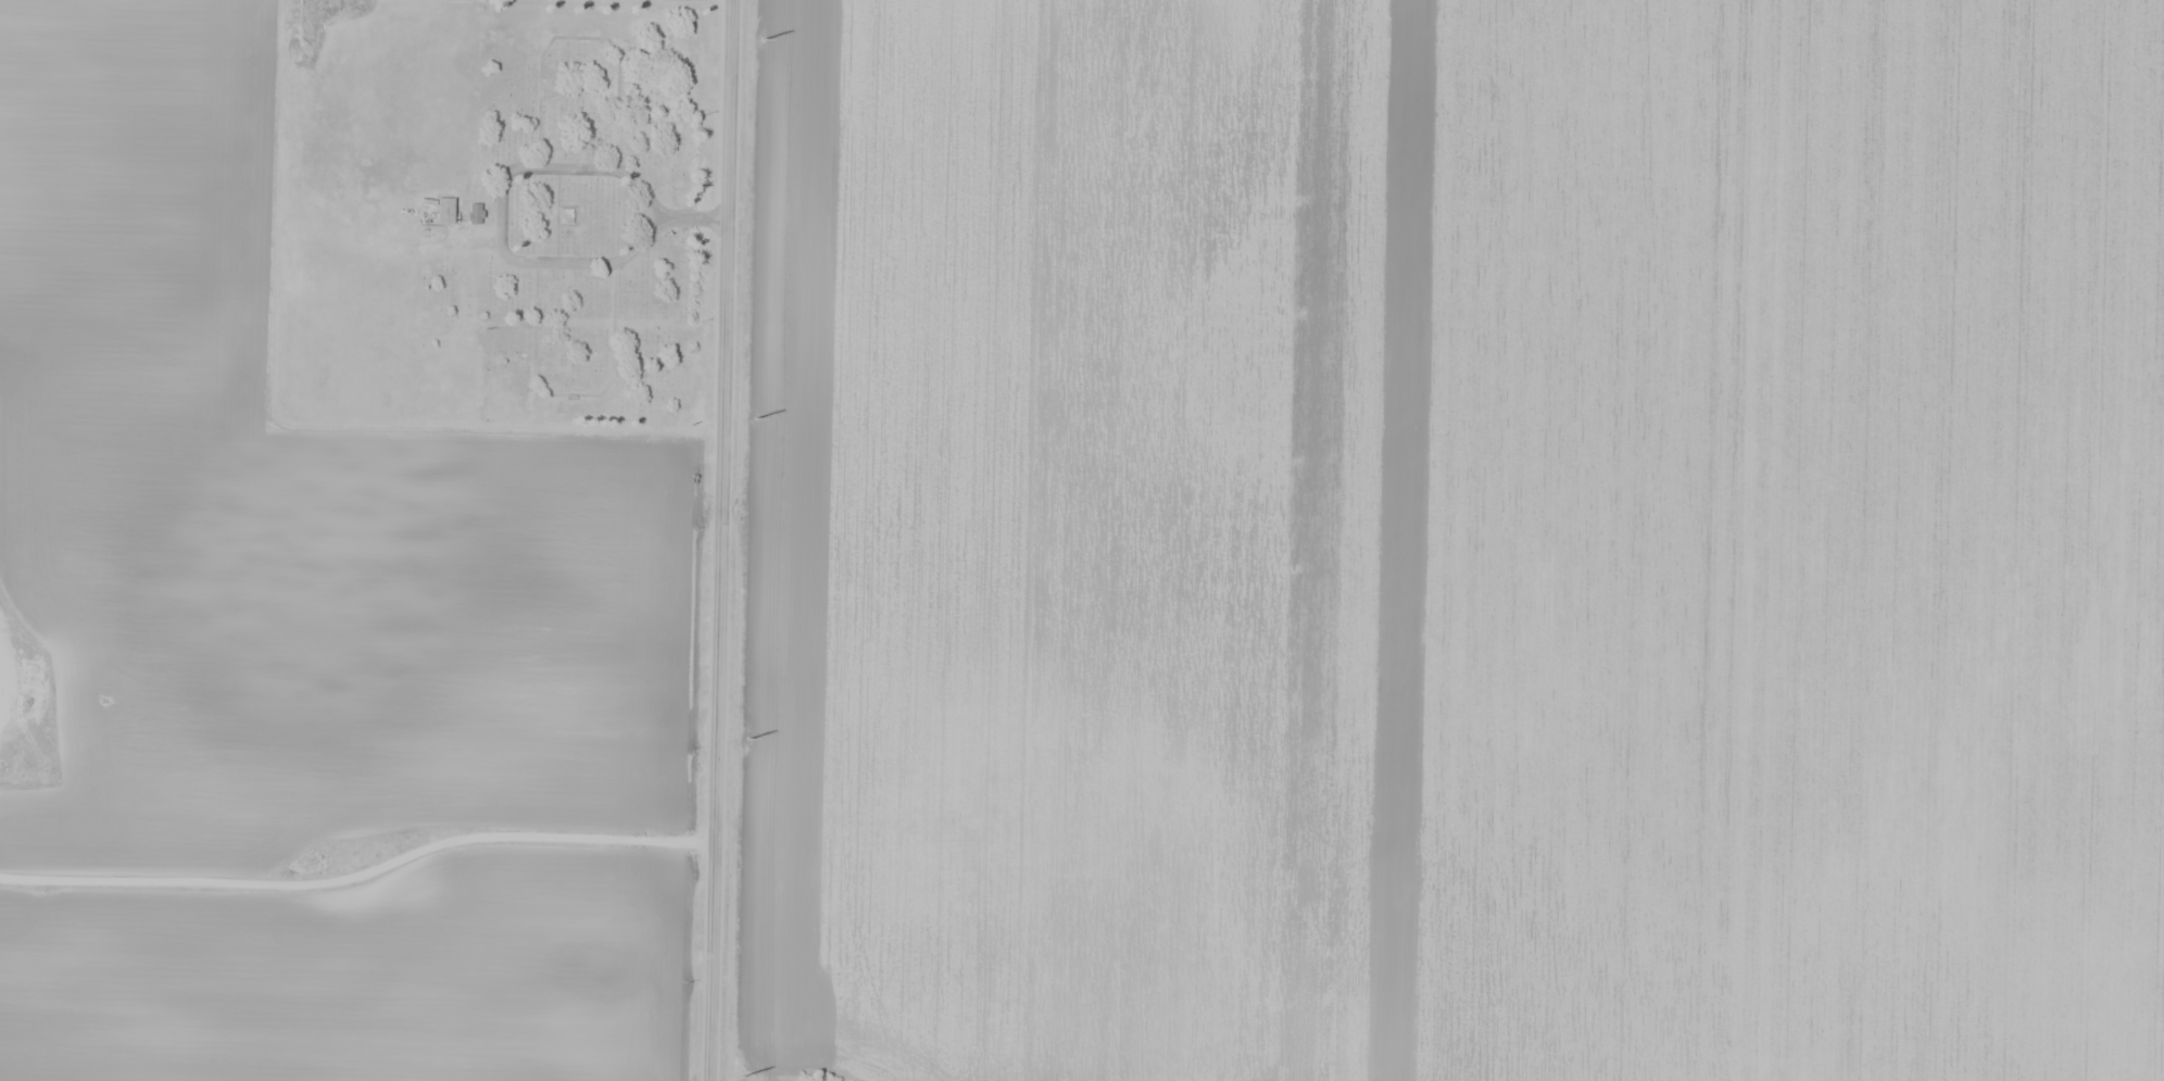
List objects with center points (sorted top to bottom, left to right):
power tower: (762, 40)
building: (444, 210)
building: (474, 213)
road: (501, 213)
park: (594, 213)
building: (566, 214)
road: (695, 218)
power tower: (754, 418)
road: (719, 540)
road: (4, 669)
power tower: (747, 739)
road: (360, 877)
power tower: (740, 1077)

